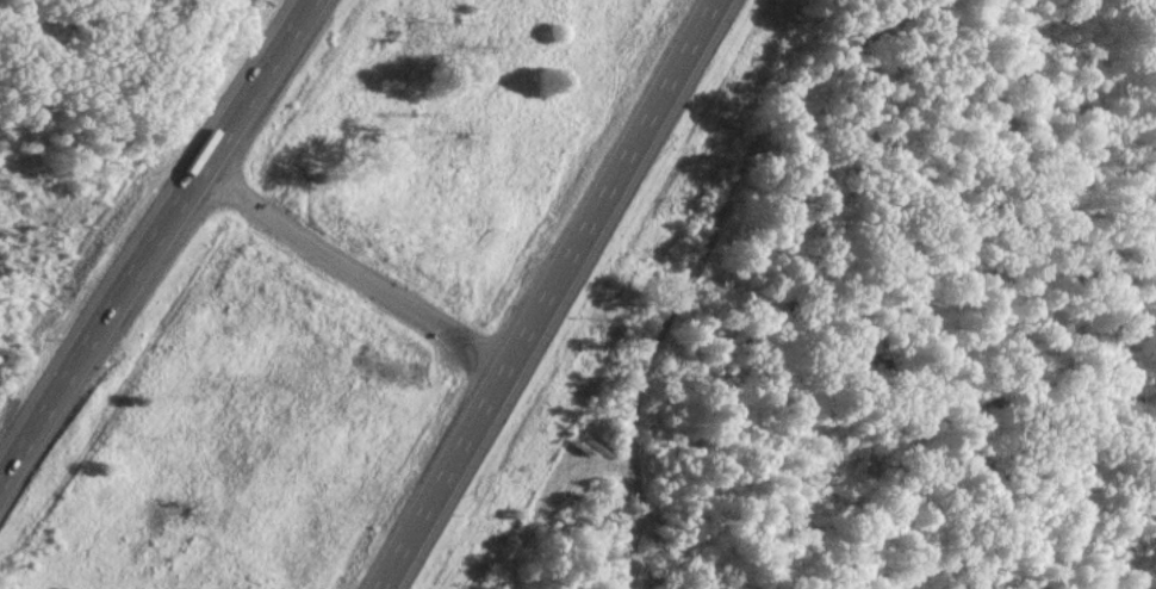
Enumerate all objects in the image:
road: (155, 241)
road: (358, 269)
road: (555, 294)

